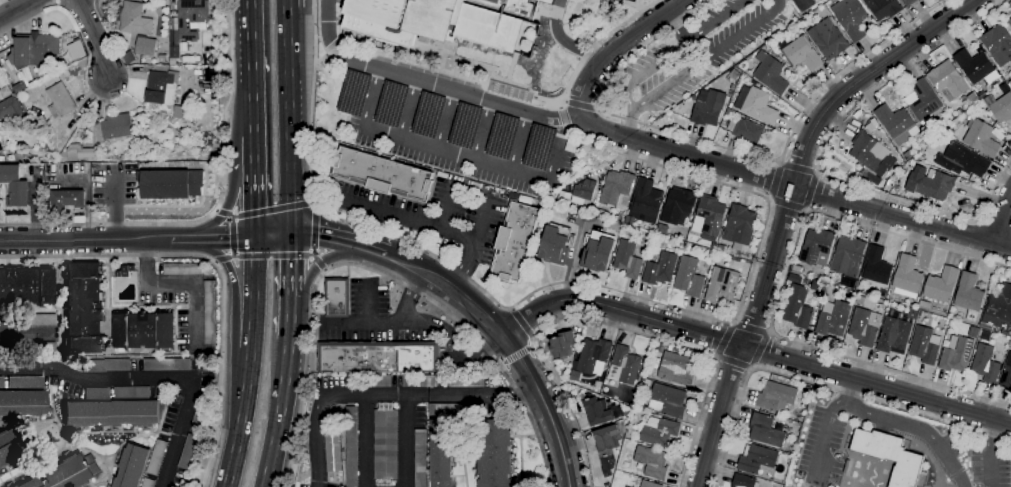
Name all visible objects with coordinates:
building: (144, 0)
parking lot: (340, 1)
building: (546, 1)
park: (642, 1)
road: (801, 1)
road: (635, 2)
building: (908, 2)
road: (285, 3)
road: (632, 4)
building: (510, 6)
building: (883, 8)
road: (18, 9)
road: (313, 17)
road: (342, 18)
building: (850, 18)
building: (132, 19)
building: (191, 19)
building: (431, 21)
building: (1009, 22)
road: (677, 25)
road: (94, 38)
building: (828, 39)
road: (561, 40)
building: (998, 44)
road: (615, 46)
building: (145, 47)
road: (334, 49)
building: (33, 50)
parking lot: (699, 51)
building: (802, 54)
building: (128, 58)
building: (161, 59)
road: (320, 60)
building: (976, 67)
road: (251, 68)
building: (770, 74)
building: (734, 75)
building: (948, 81)
road: (509, 82)
building: (1009, 85)
building: (19, 87)
building: (161, 88)
building: (214, 89)
building: (354, 93)
building: (213, 98)
building: (972, 98)
road: (563, 100)
building: (59, 101)
building: (391, 103)
road: (558, 104)
building: (925, 104)
building: (756, 105)
road: (579, 106)
road: (636, 106)
road: (596, 107)
building: (10, 108)
building: (708, 108)
building: (1002, 108)
road: (411, 109)
building: (959, 112)
building: (729, 113)
building: (428, 115)
road: (562, 117)
road: (447, 119)
road: (287, 121)
building: (895, 122)
road: (629, 124)
building: (465, 126)
building: (116, 127)
road: (483, 130)
building: (745, 131)
building: (951, 131)
building: (49, 132)
building: (502, 136)
parking lot: (458, 137)
building: (981, 138)
road: (520, 141)
road: (646, 144)
road: (723, 146)
building: (1, 147)
building: (539, 147)
road: (253, 149)
road: (445, 151)
building: (866, 152)
building: (78, 153)
building: (17, 157)
road: (820, 157)
building: (966, 160)
road: (779, 162)
building: (912, 163)
road: (797, 168)
road: (817, 172)
building: (380, 174)
road: (775, 181)
building: (170, 184)
building: (934, 184)
building: (15, 186)
road: (368, 187)
building: (617, 189)
road: (809, 190)
building: (582, 193)
road: (253, 199)
road: (768, 199)
building: (65, 200)
road: (312, 202)
building: (645, 202)
road: (787, 202)
road: (226, 203)
road: (113, 204)
road: (394, 206)
building: (678, 207)
road: (315, 208)
road: (449, 208)
traffic signals: (254, 209)
road: (272, 209)
road: (786, 209)
road: (805, 209)
road: (216, 210)
road: (213, 212)
road: (223, 213)
parking lot: (434, 213)
road: (232, 216)
road: (230, 218)
building: (709, 218)
road: (1002, 219)
road: (408, 220)
road: (996, 222)
building: (739, 227)
road: (312, 228)
road: (480, 228)
traffic signals: (316, 233)
road: (230, 236)
road: (273, 236)
road: (330, 236)
road: (487, 236)
road: (181, 239)
road: (223, 239)
traffic signals: (227, 239)
road: (85, 240)
building: (513, 241)
building: (555, 244)
road: (494, 246)
building: (816, 247)
building: (721, 248)
road: (311, 251)
road: (377, 251)
building: (597, 252)
road: (231, 254)
road: (311, 254)
road: (272, 255)
road: (232, 257)
road: (221, 258)
building: (630, 258)
traffic signals: (291, 259)
building: (848, 260)
road: (213, 261)
road: (317, 262)
road: (316, 264)
building: (877, 266)
road: (217, 267)
building: (183, 269)
road: (322, 269)
building: (660, 269)
road: (346, 270)
building: (124, 271)
road: (381, 272)
road: (290, 273)
road: (456, 274)
building: (907, 275)
building: (688, 277)
building: (827, 277)
building: (794, 279)
road: (181, 284)
building: (26, 285)
road: (597, 285)
building: (722, 286)
road: (780, 288)
building: (939, 288)
road: (449, 290)
road: (409, 296)
building: (969, 296)
building: (335, 297)
road: (346, 297)
road: (234, 298)
road: (367, 301)
building: (84, 308)
building: (797, 308)
road: (511, 309)
building: (997, 311)
road: (319, 312)
building: (209, 313)
building: (834, 317)
building: (35, 319)
parking lot: (376, 319)
road: (346, 320)
road: (418, 322)
road: (521, 322)
road: (732, 322)
road: (608, 325)
road: (289, 326)
building: (865, 327)
road: (749, 328)
road: (6, 330)
building: (143, 331)
road: (769, 332)
road: (398, 333)
building: (1010, 334)
building: (893, 335)
road: (532, 337)
road: (723, 339)
road: (378, 344)
road: (312, 345)
building: (562, 345)
building: (925, 346)
building: (35, 347)
road: (446, 347)
road: (532, 348)
road: (752, 348)
road: (759, 349)
building: (956, 354)
building: (593, 355)
building: (376, 356)
road: (515, 356)
road: (714, 357)
road: (733, 361)
road: (249, 362)
building: (166, 364)
building: (985, 364)
building: (106, 365)
road: (500, 365)
building: (624, 366)
road: (751, 368)
building: (676, 369)
building: (1006, 374)
building: (575, 376)
road: (152, 378)
building: (373, 381)
building: (419, 381)
building: (465, 381)
building: (1, 382)
building: (25, 382)
road: (822, 385)
road: (851, 388)
building: (806, 389)
building: (96, 393)
building: (131, 393)
road: (383, 394)
building: (643, 394)
building: (775, 397)
building: (668, 401)
building: (23, 402)
road: (545, 408)
building: (446, 410)
building: (598, 411)
building: (111, 413)
road: (279, 415)
building: (199, 416)
building: (621, 427)
road: (916, 428)
road: (825, 429)
building: (630, 431)
building: (765, 431)
building: (658, 432)
road: (406, 440)
road: (365, 441)
parking lot: (952, 443)
building: (385, 445)
building: (351, 446)
building: (9, 447)
building: (607, 447)
parking lot: (821, 449)
building: (188, 452)
building: (331, 452)
road: (991, 452)
building: (440, 453)
building: (494, 453)
building: (888, 455)
building: (156, 458)
building: (420, 458)
building: (756, 459)
building: (651, 462)
building: (131, 466)
parking lot: (989, 468)
building: (66, 473)
building: (743, 481)
building: (147, 483)
building: (649, 484)
building: (606, 485)
building: (14, 486)
building: (624, 486)

